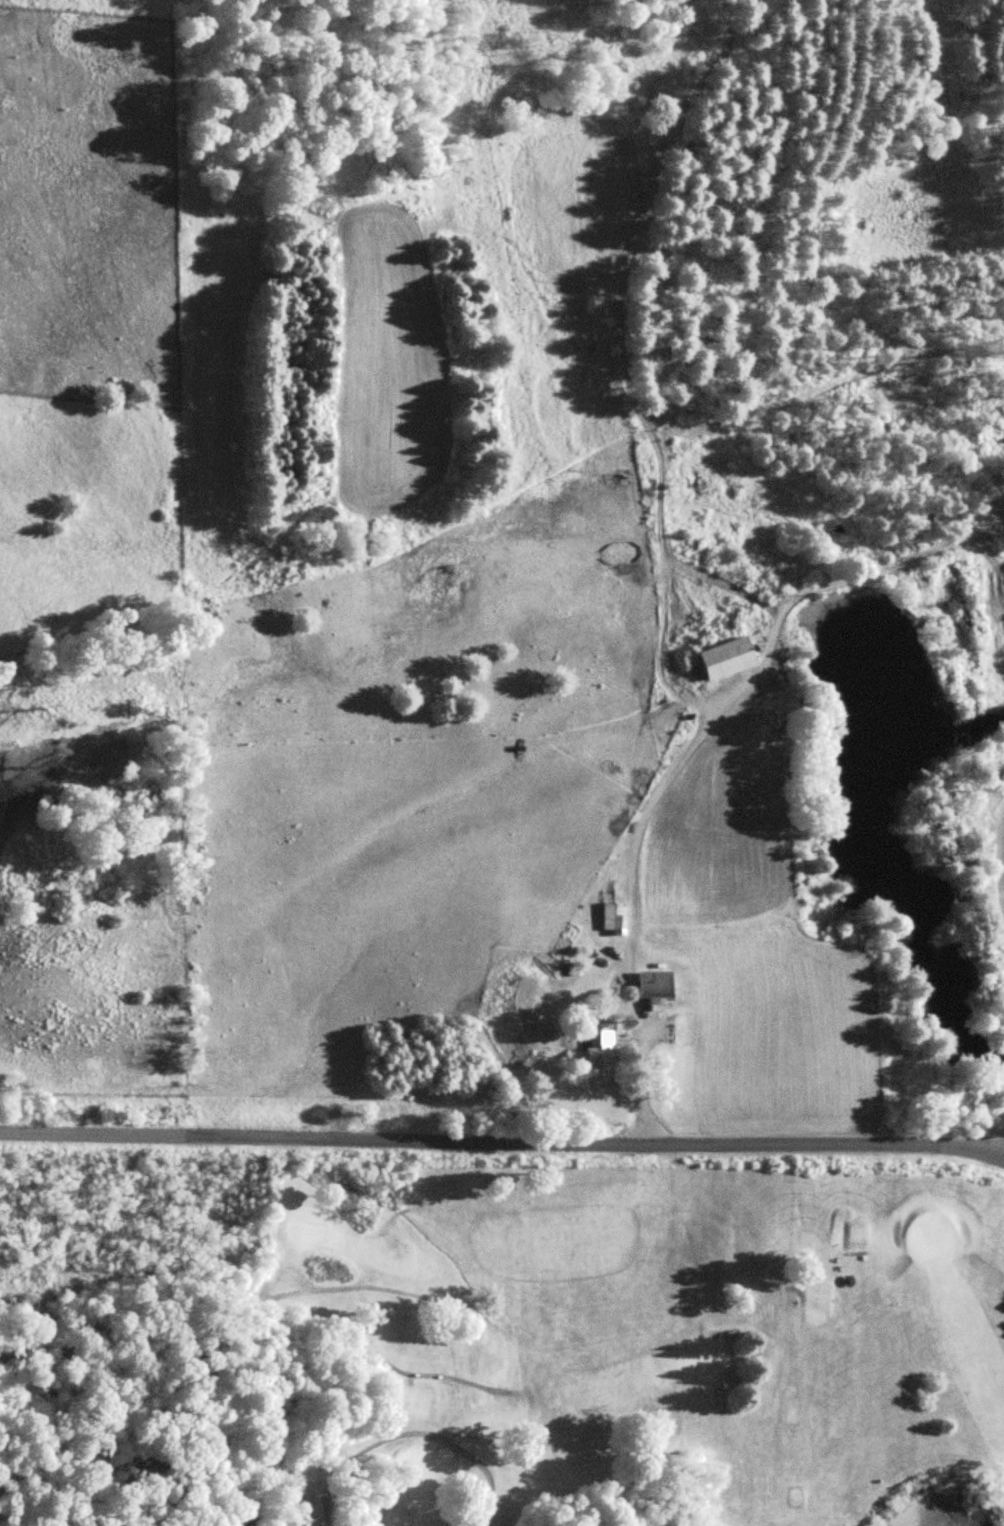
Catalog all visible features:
building: (726, 658)
building: (613, 918)
building: (655, 987)
building: (593, 1041)
road: (501, 1136)
road: (981, 1152)
park: (625, 1346)

